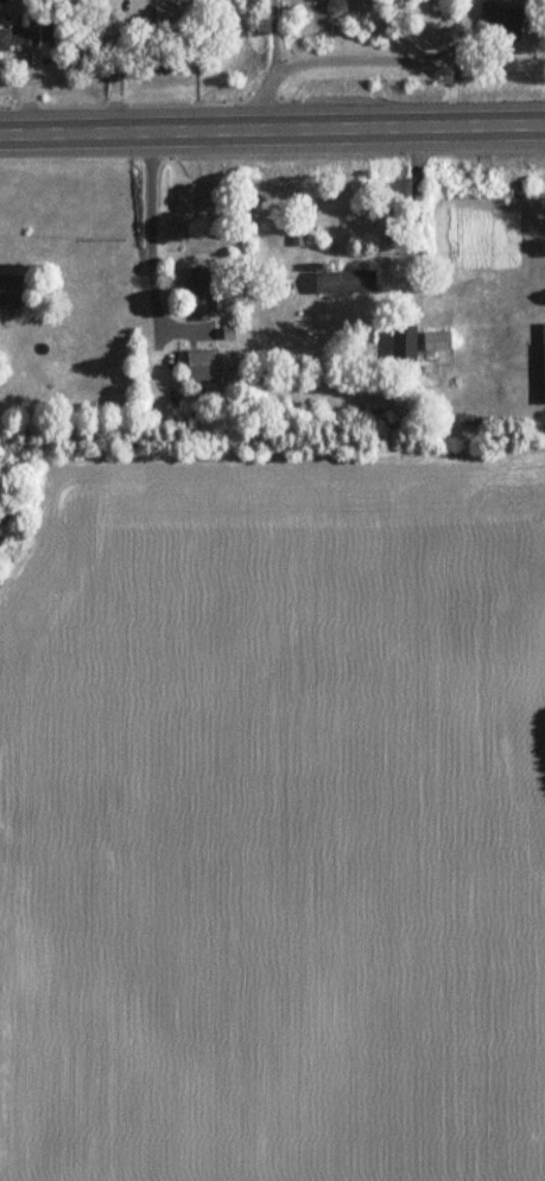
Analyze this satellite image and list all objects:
building: (508, 25)
building: (17, 38)
road: (387, 58)
road: (120, 67)
road: (272, 67)
road: (272, 127)
road: (413, 210)
road: (151, 227)
building: (343, 282)
building: (9, 290)
building: (204, 291)
building: (436, 340)
building: (403, 341)
building: (543, 362)
building: (201, 365)

